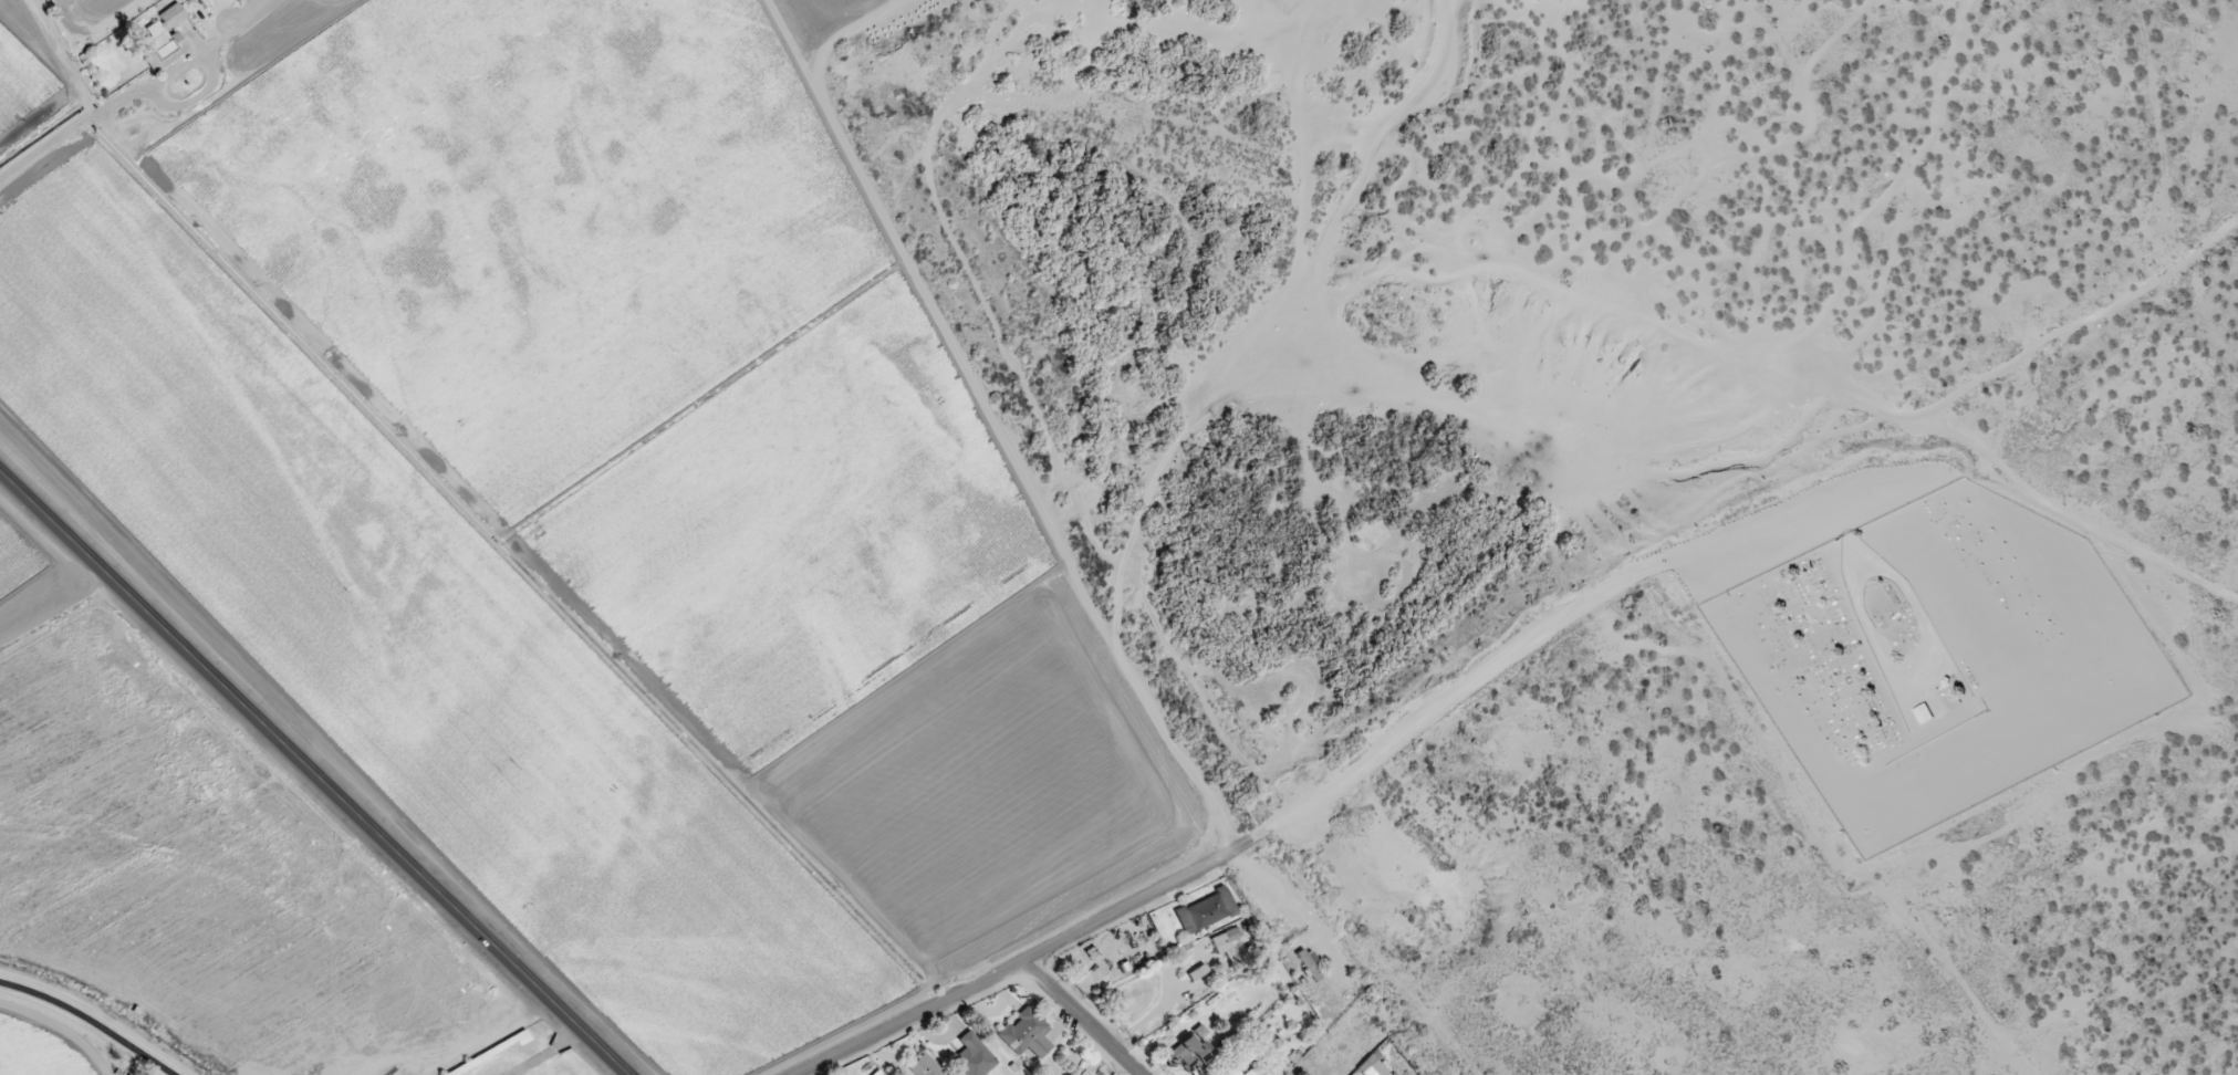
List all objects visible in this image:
building: (186, 0)
building: (164, 39)
road: (121, 84)
road: (1937, 416)
park: (1939, 657)
road: (1456, 697)
building: (1922, 714)
road: (313, 773)
building: (1205, 911)
building: (1224, 942)
road: (1044, 951)
building: (1308, 964)
building: (1198, 980)
road: (98, 1013)
road: (1084, 1017)
building: (1199, 1032)
building: (1024, 1035)
building: (1188, 1054)
building: (972, 1057)
building: (925, 1066)
building: (1374, 1066)
road: (167, 1069)
building: (1252, 1072)
building: (1232, 1073)

